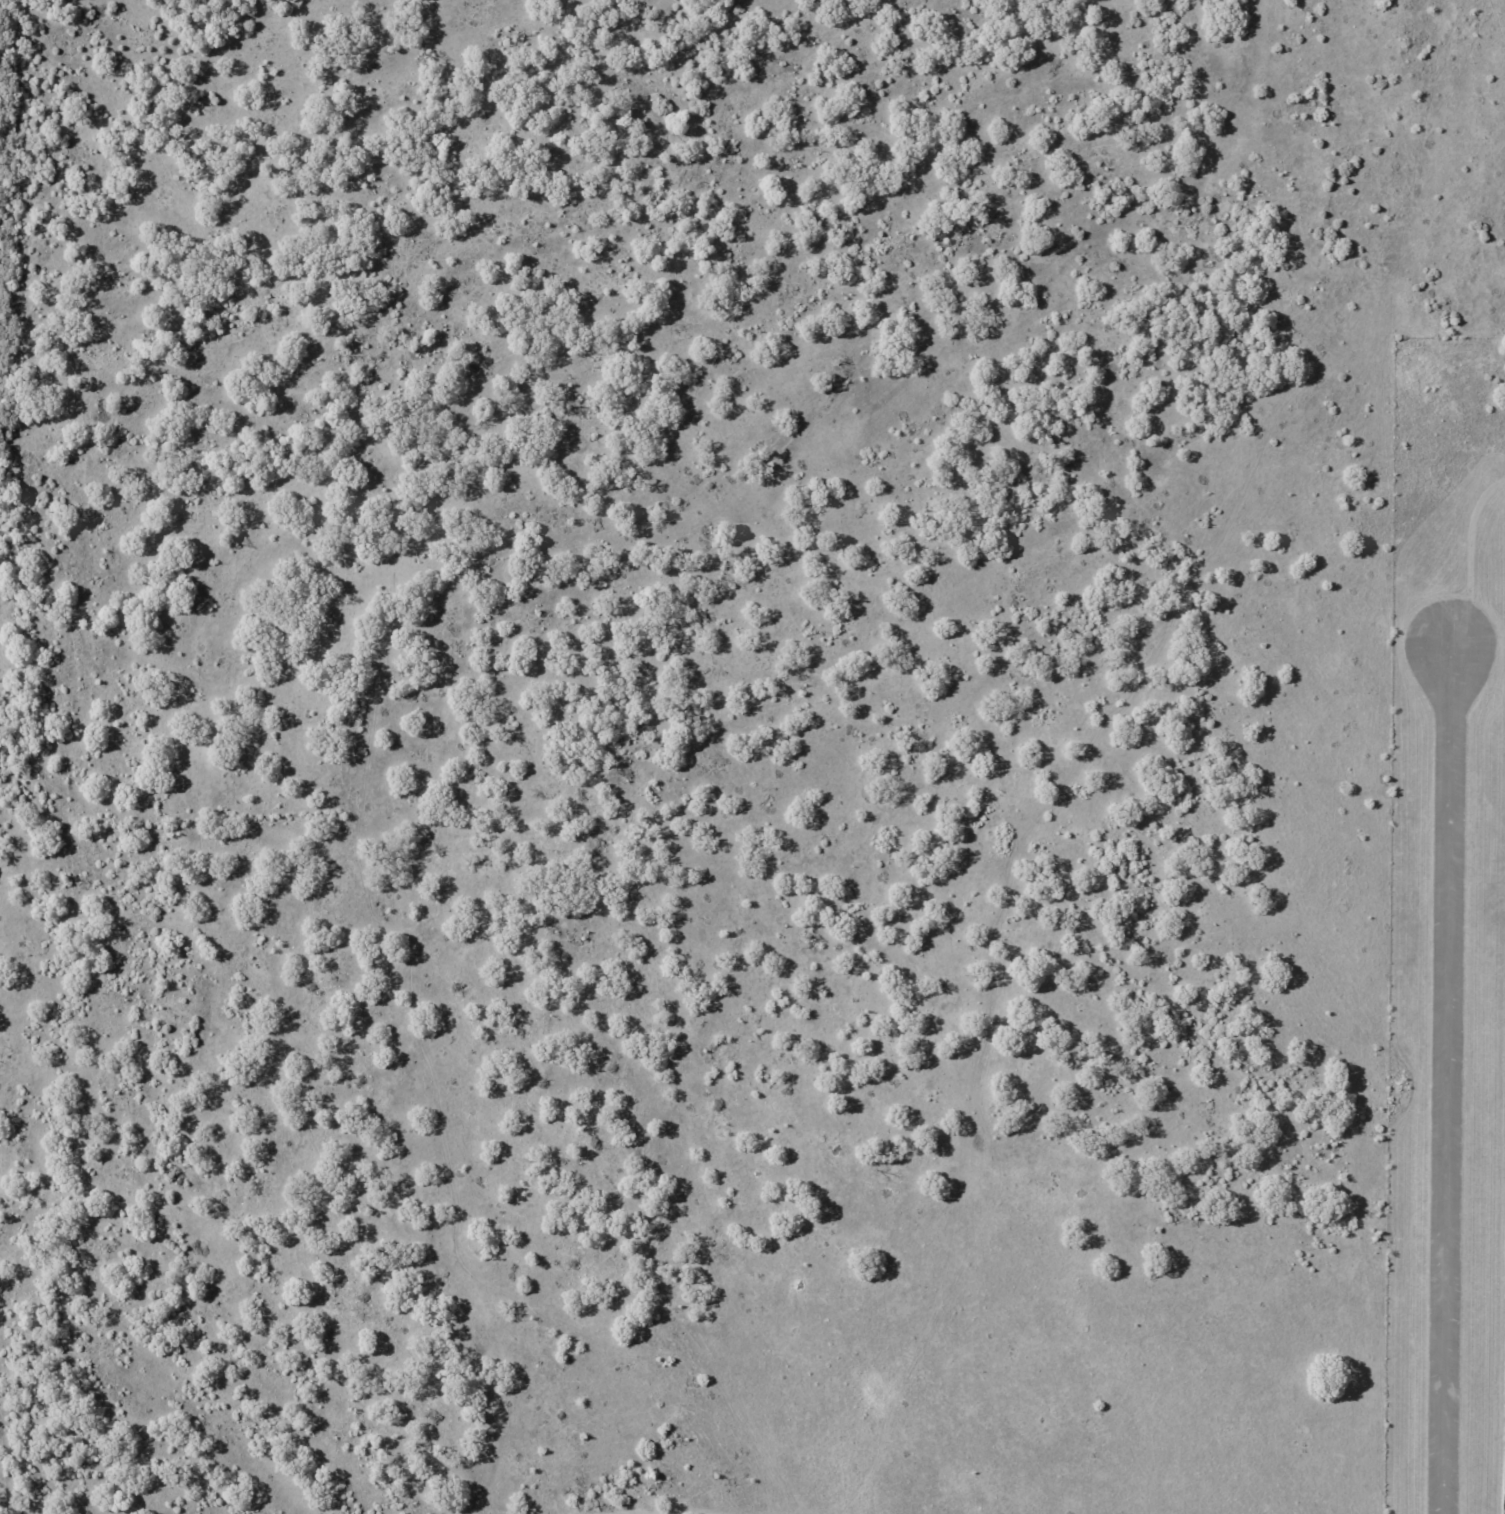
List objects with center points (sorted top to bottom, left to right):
airport runway: (1444, 1065)

